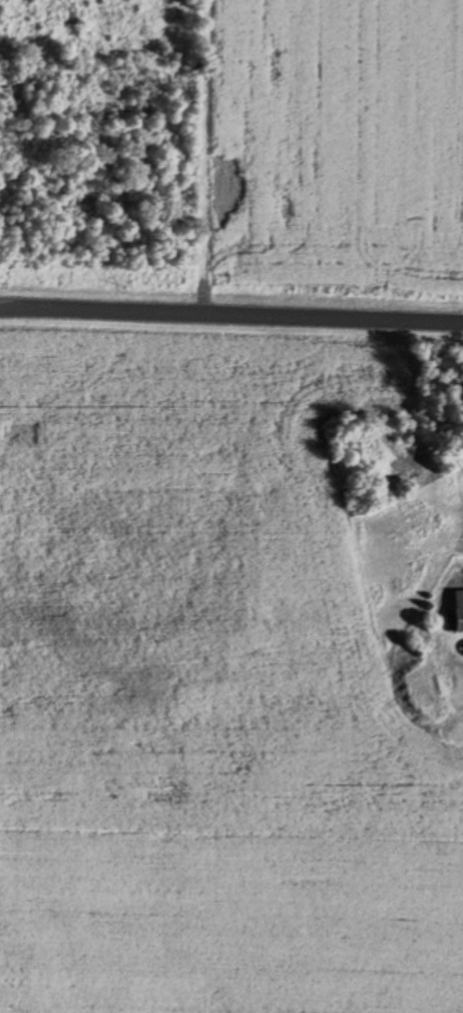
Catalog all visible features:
road: (231, 317)
building: (459, 621)

